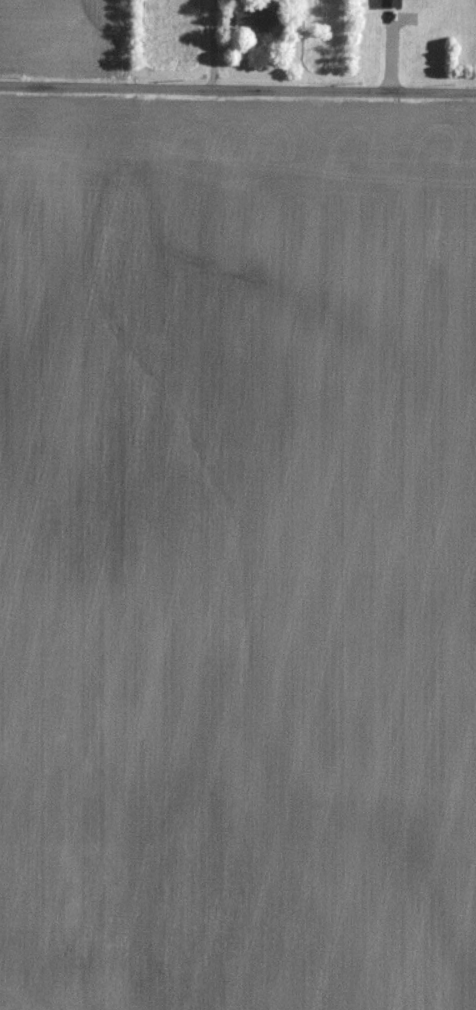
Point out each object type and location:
building: (258, 18)
road: (210, 45)
road: (237, 90)

